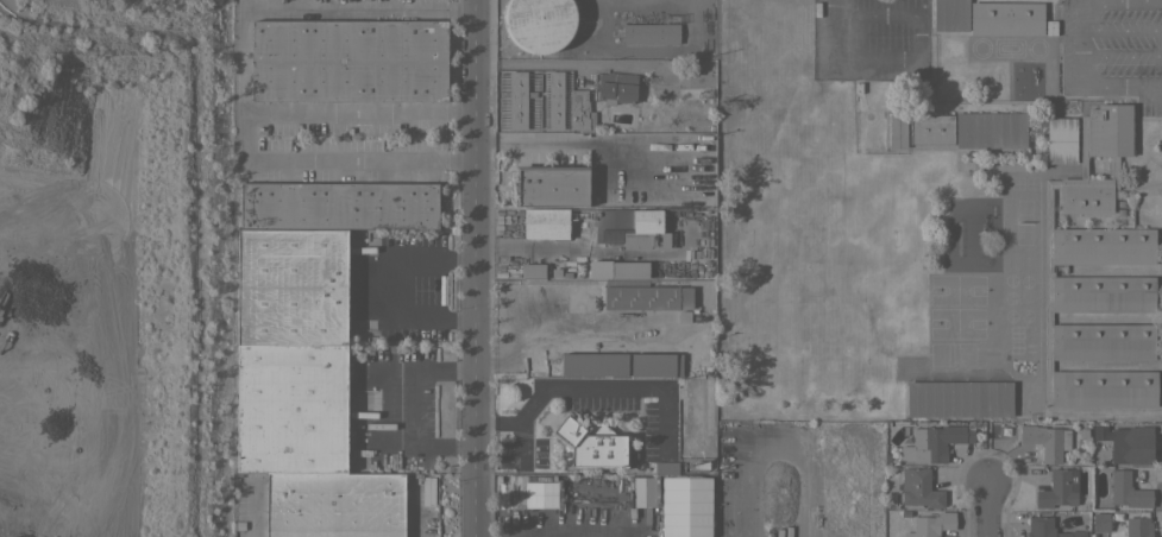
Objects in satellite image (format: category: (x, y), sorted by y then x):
road: (834, 6)
road: (303, 7)
road: (897, 13)
building: (950, 14)
building: (1006, 18)
building: (539, 24)
storage tank: (539, 24)
building: (1050, 27)
building: (649, 32)
road: (1076, 45)
road: (852, 58)
building: (347, 59)
building: (686, 74)
building: (615, 88)
building: (515, 100)
building: (554, 100)
road: (354, 109)
building: (580, 109)
building: (930, 128)
building: (897, 129)
building: (990, 129)
building: (1060, 140)
road: (329, 163)
building: (549, 185)
building: (337, 204)
building: (545, 223)
building: (636, 228)
road: (577, 251)
road: (471, 268)
quarry: (100, 270)
building: (532, 270)
building: (1097, 278)
road: (397, 284)
building: (291, 286)
building: (647, 297)
building: (593, 364)
building: (655, 364)
road: (589, 387)
building: (957, 398)
road: (385, 406)
building: (290, 409)
building: (1045, 441)
building: (934, 442)
building: (589, 444)
building: (1130, 444)
building: (723, 451)
building: (665, 467)
building: (918, 488)
building: (1057, 488)
building: (1126, 489)
building: (641, 491)
building: (333, 504)
building: (685, 506)
road: (985, 510)
road: (412, 511)
building: (1100, 522)
building: (740, 523)
building: (930, 524)
building: (1137, 525)
building: (1047, 527)

